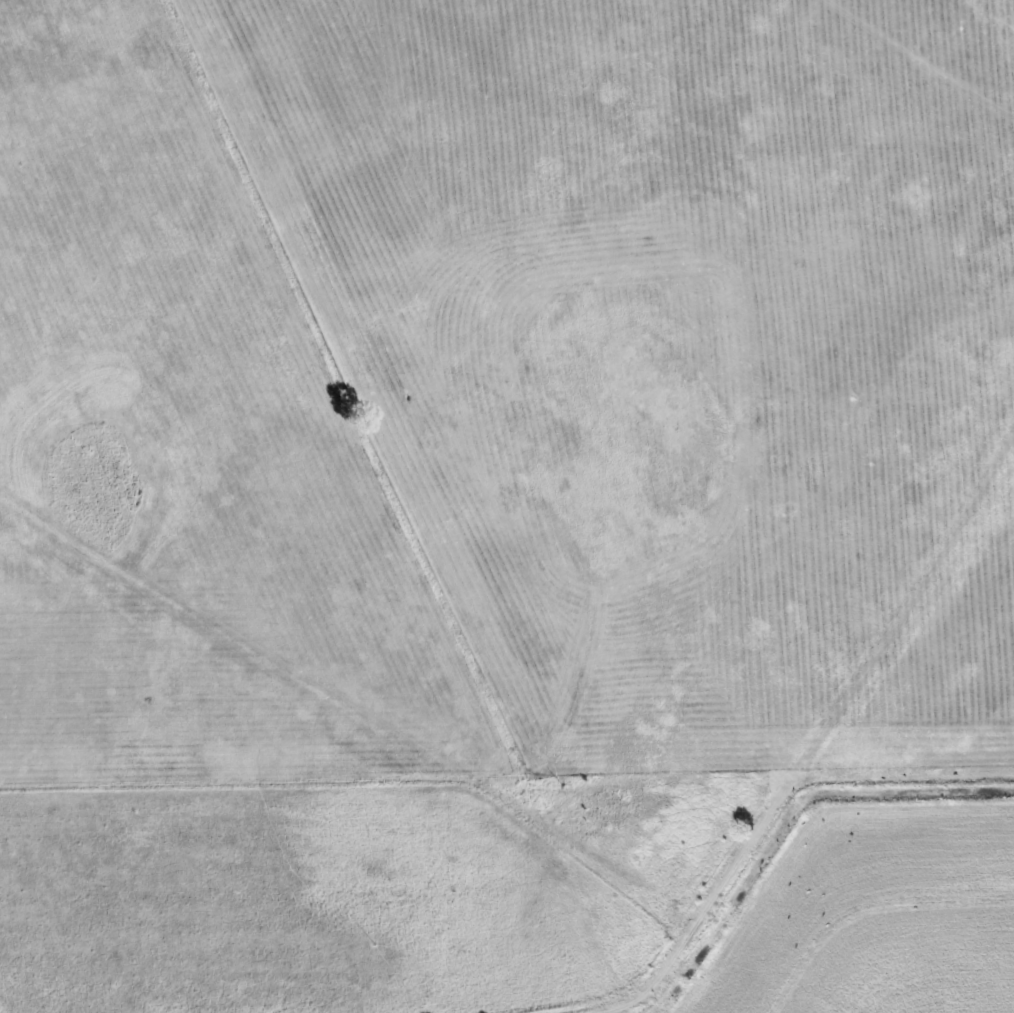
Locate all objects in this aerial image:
road: (828, 735)
road: (4, 1005)

